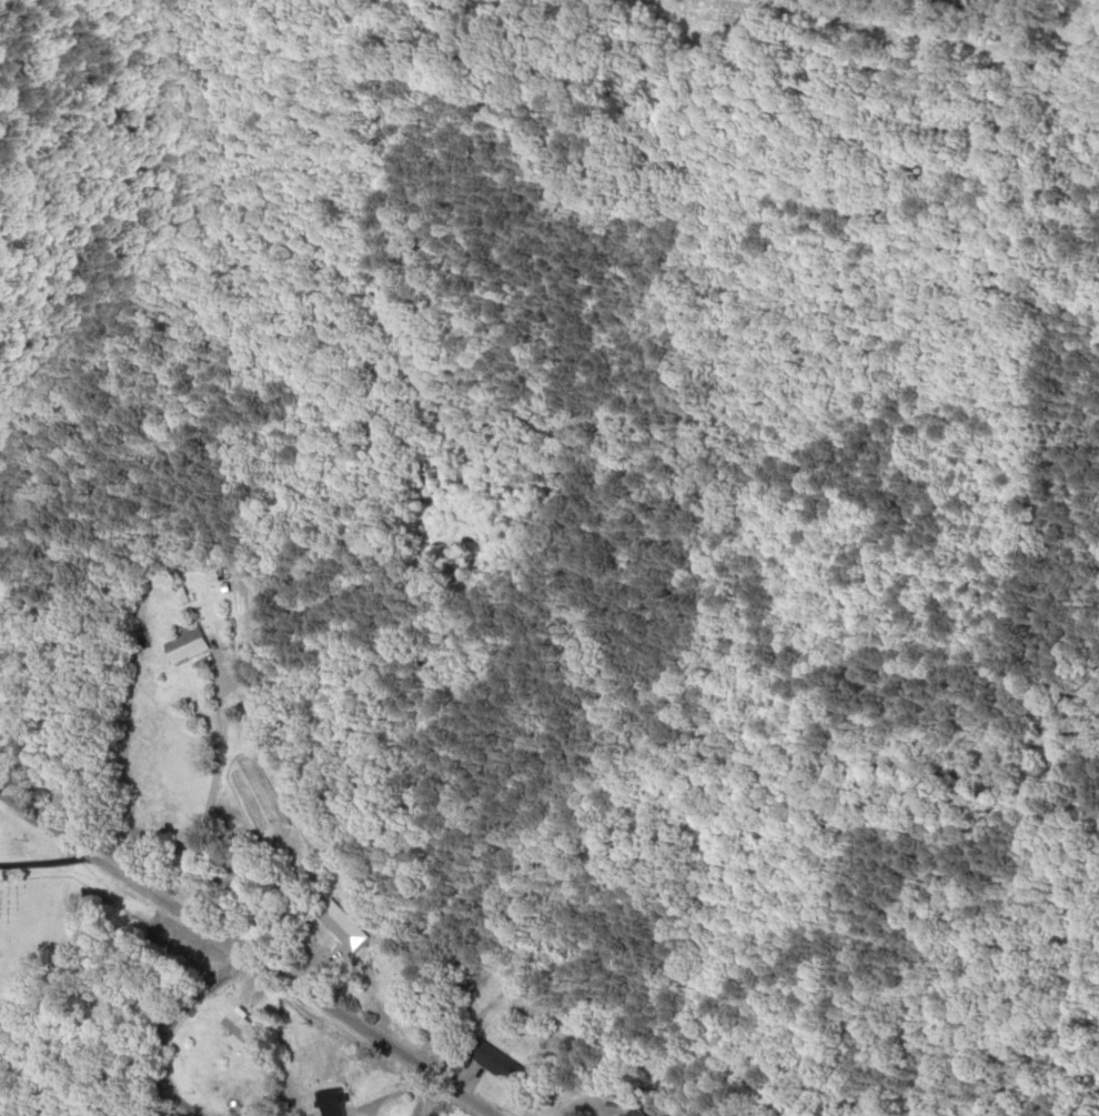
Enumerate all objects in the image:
building: (201, 645)
road: (233, 688)
building: (351, 925)
road: (259, 948)
building: (249, 1025)
building: (508, 1064)
building: (340, 1102)
building: (648, 1113)

